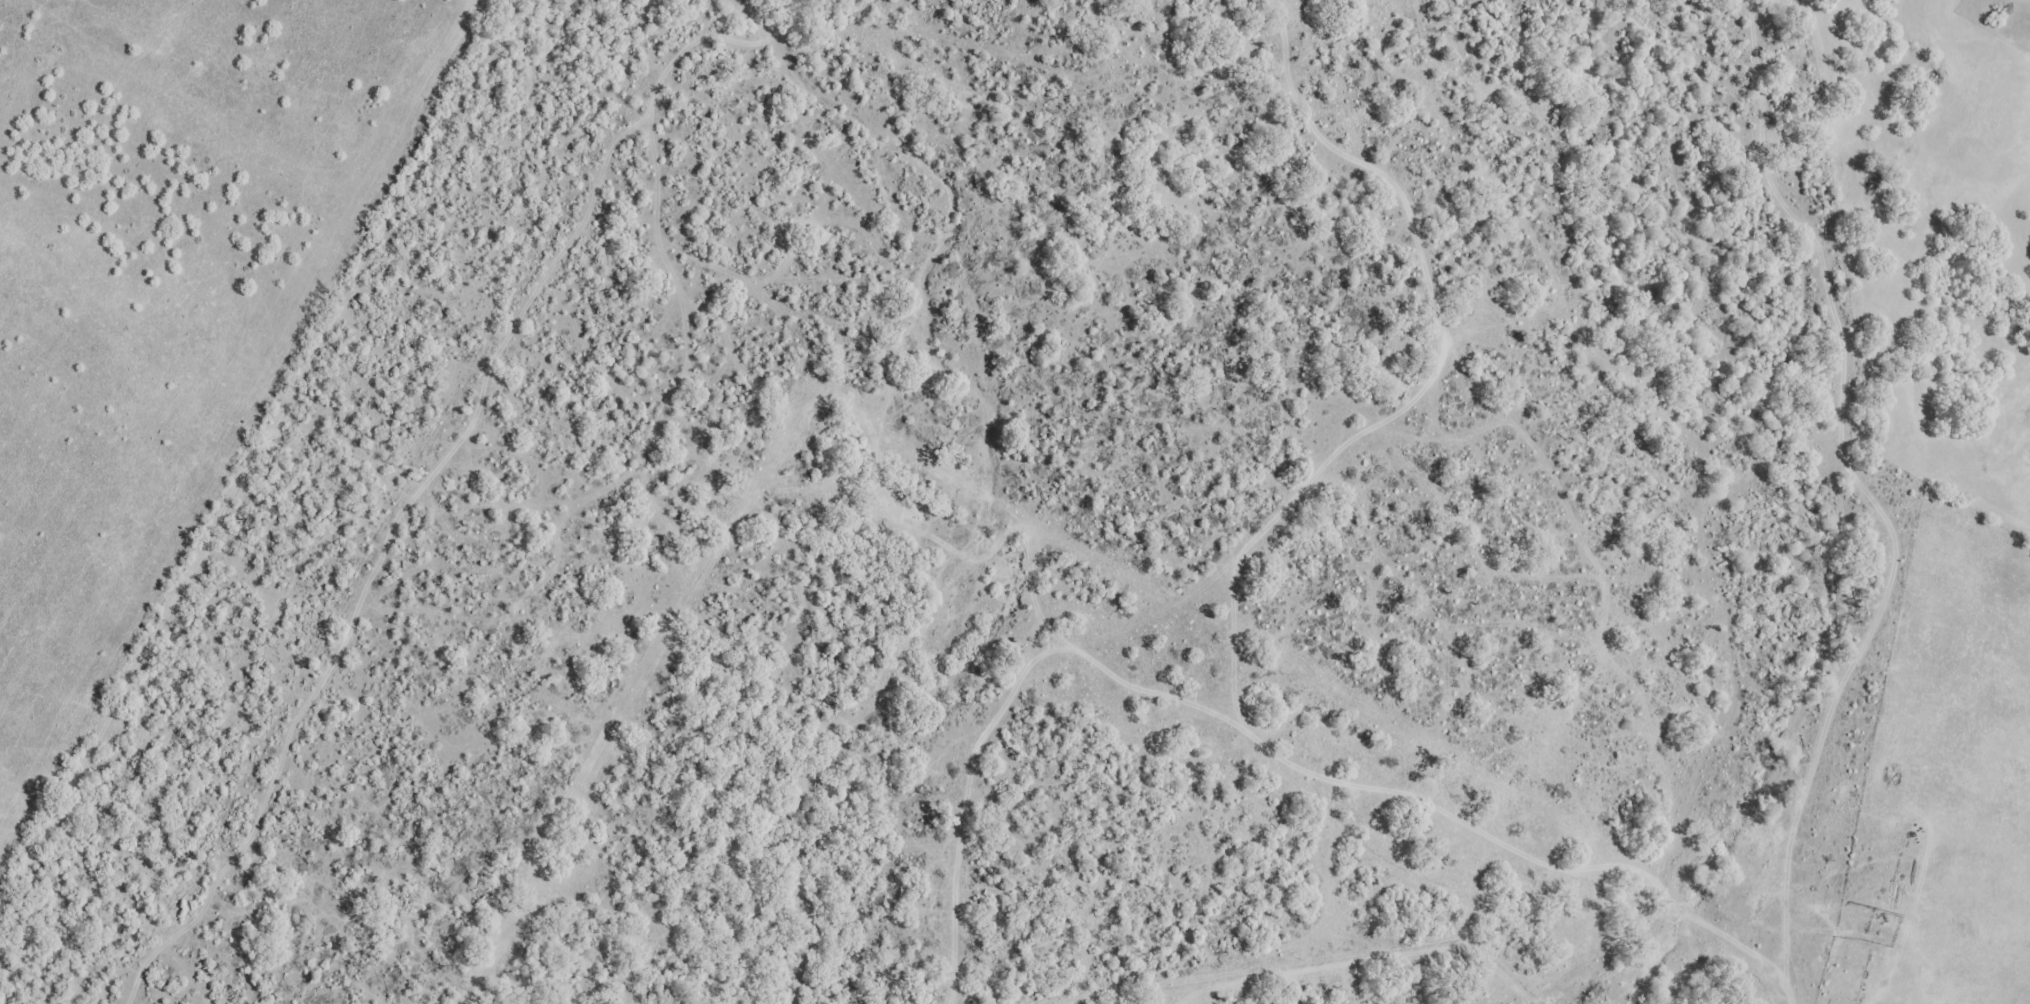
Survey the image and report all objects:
river: (1606, 254)
river: (1787, 734)

